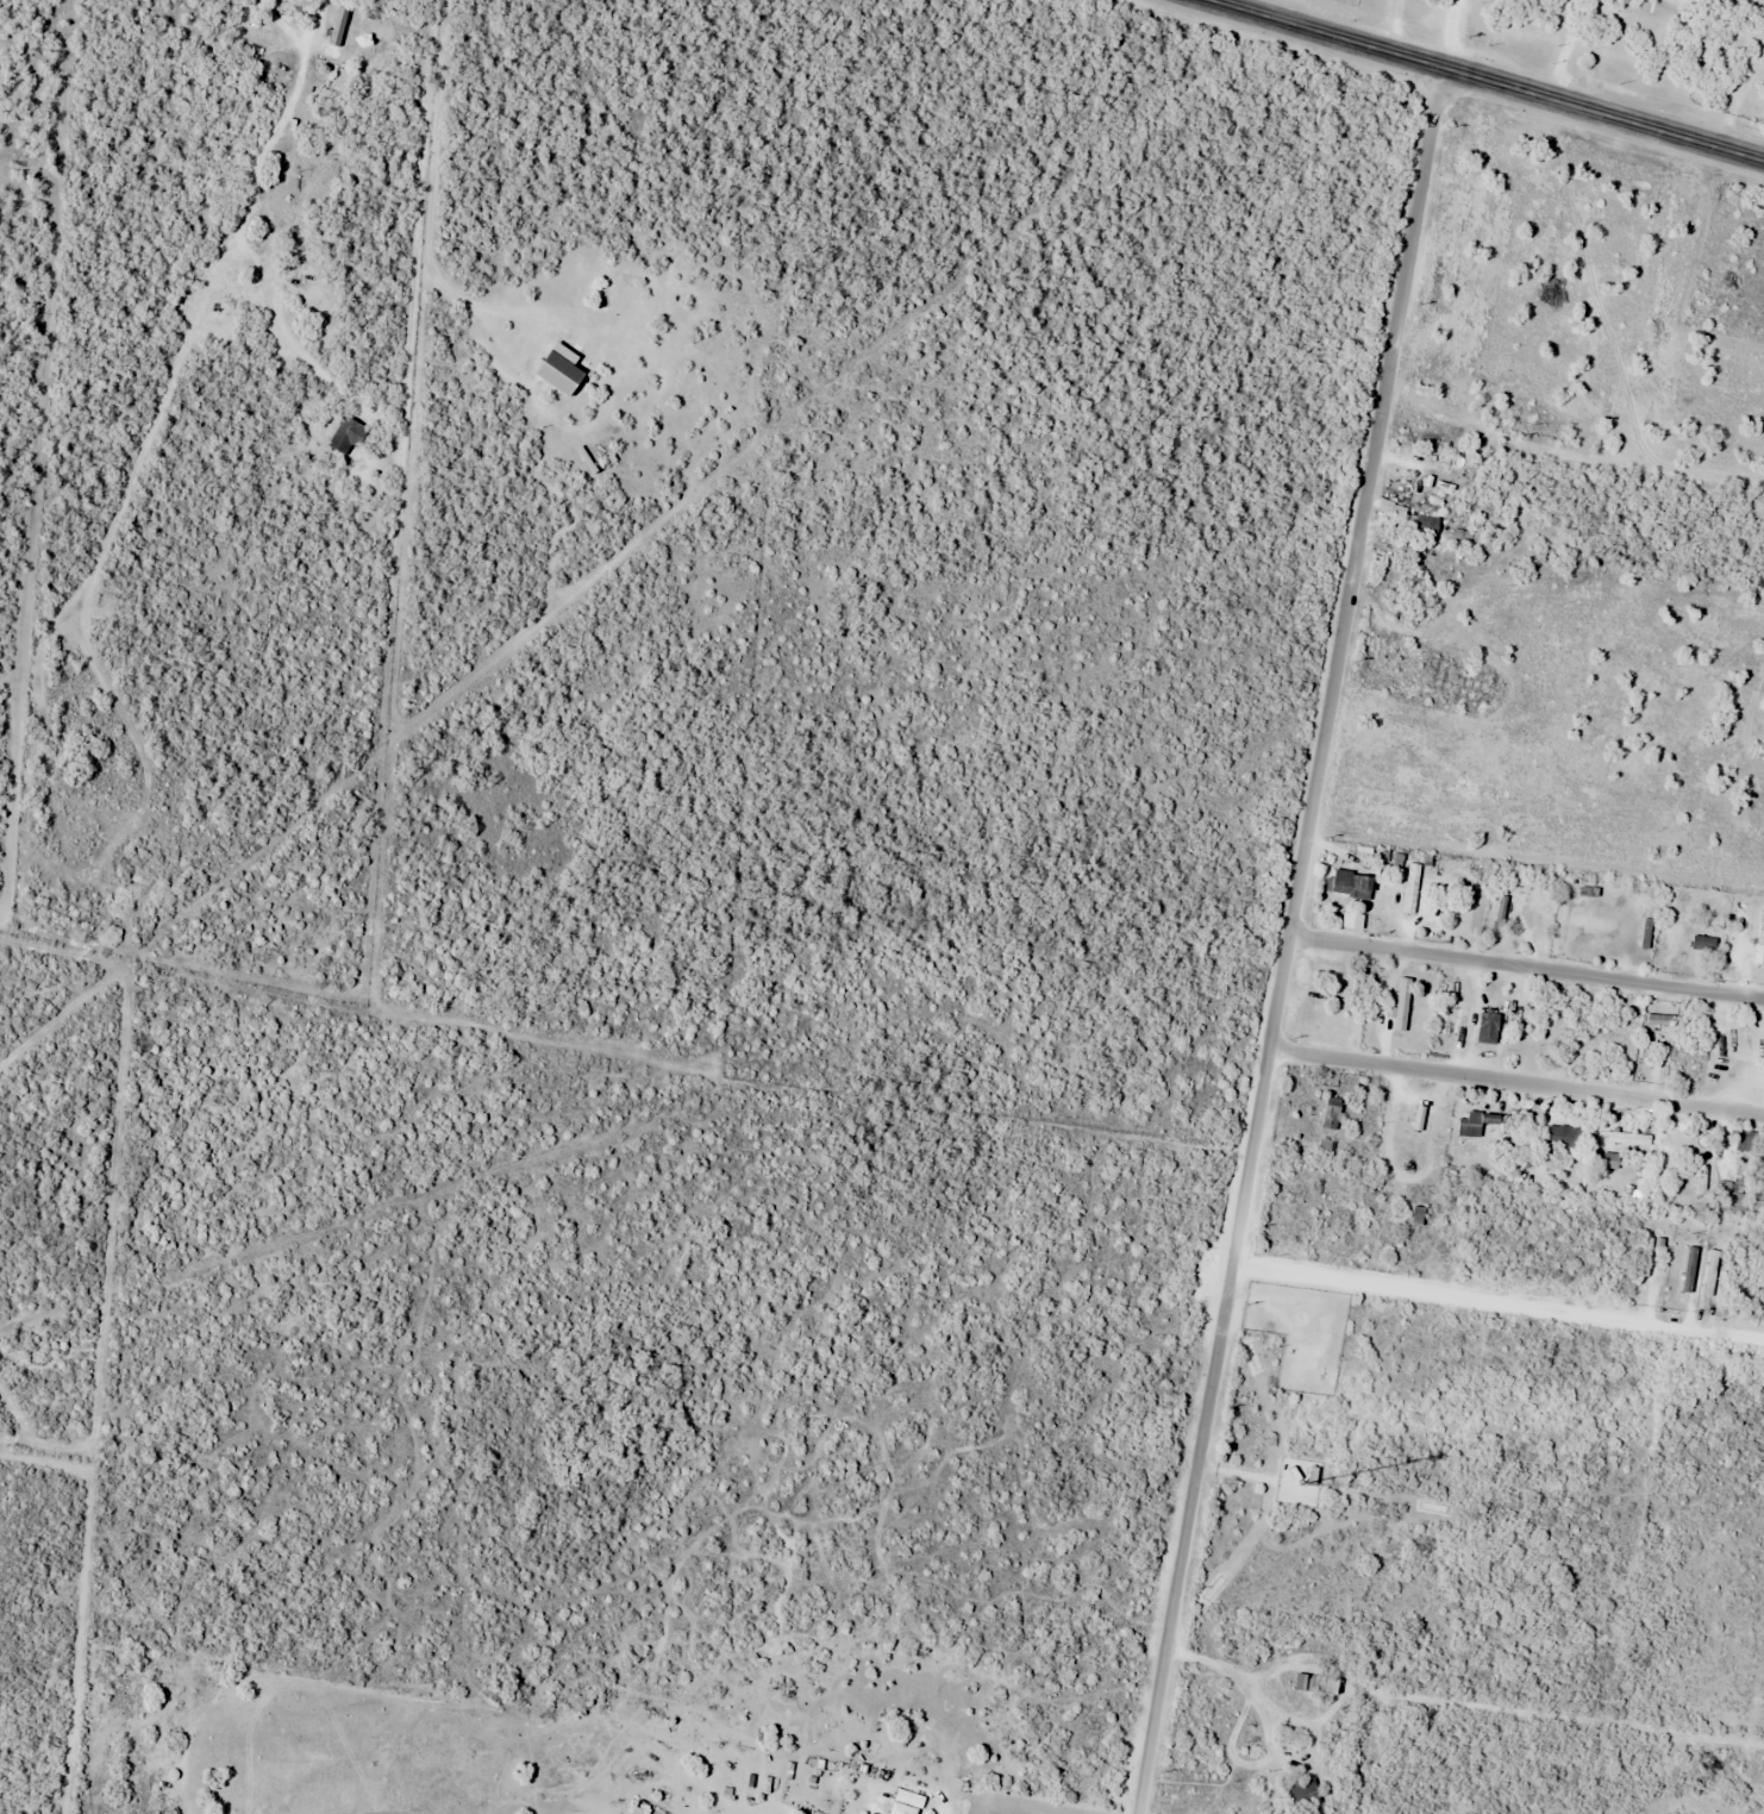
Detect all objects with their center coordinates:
building: (338, 27)
road: (299, 70)
road: (1488, 80)
building: (562, 369)
building: (346, 437)
building: (1418, 524)
building: (1351, 884)
building: (1410, 889)
road: (1290, 940)
building: (1760, 940)
building: (1703, 944)
road: (1527, 967)
building: (1402, 1005)
building: (1488, 1027)
road: (1518, 1082)
building: (1331, 1114)
building: (1469, 1125)
building: (1563, 1139)
building: (1733, 1197)
building: (1646, 1257)
building: (1675, 1300)
road: (1499, 1302)
building: (1316, 1684)
building: (1297, 1796)
building: (911, 1803)
building: (648, 1810)

